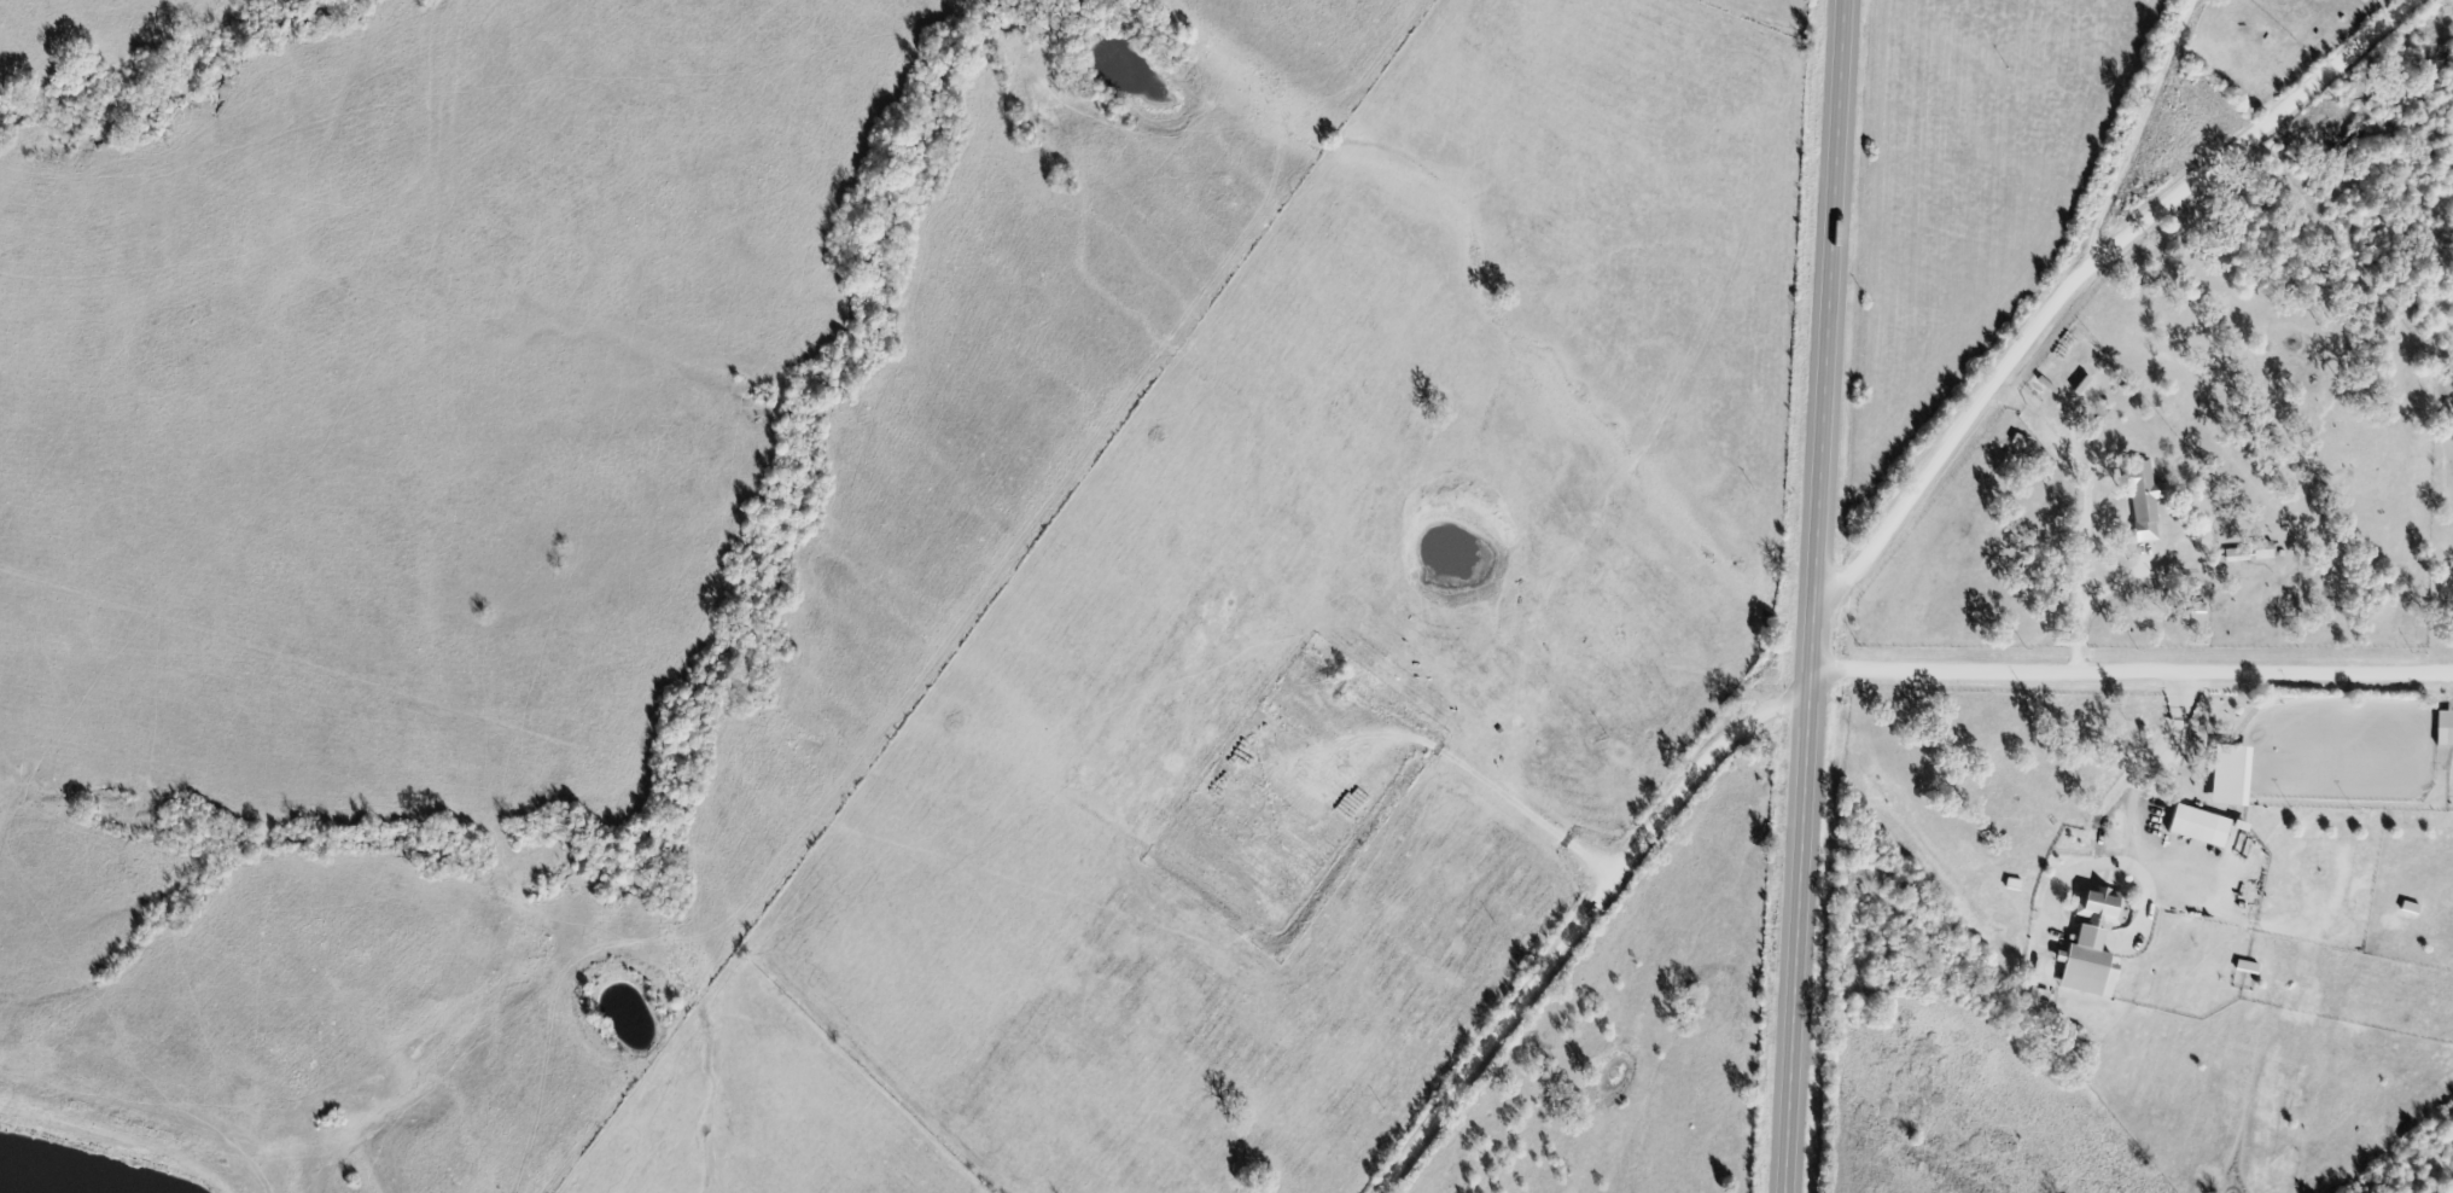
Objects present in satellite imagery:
road: (2136, 136)
road: (2084, 269)
building: (2149, 499)
building: (2254, 555)
road: (1819, 596)
road: (2132, 673)
building: (2447, 731)
railway: (2360, 753)
building: (2206, 828)
road: (1575, 921)
building: (2098, 947)

